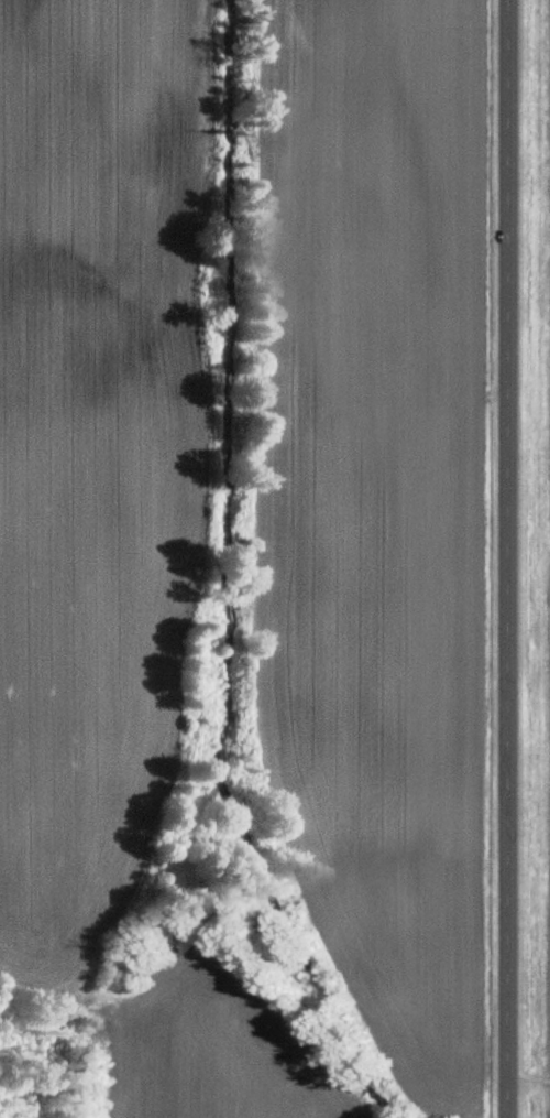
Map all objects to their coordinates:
road: (513, 558)

